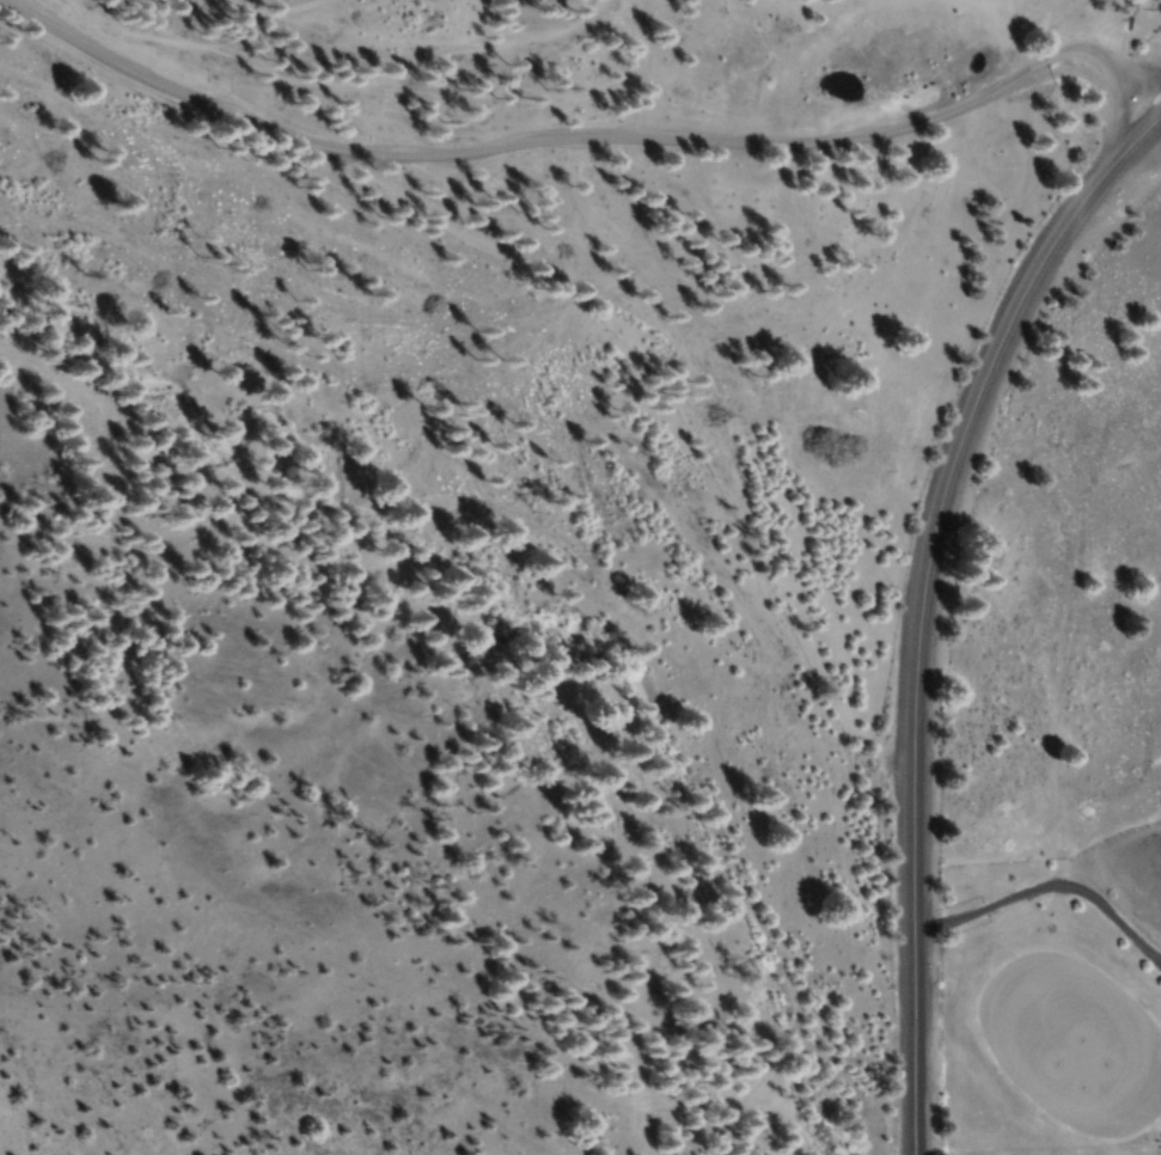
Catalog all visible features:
road: (586, 152)
road: (917, 594)
crop: (1016, 689)

